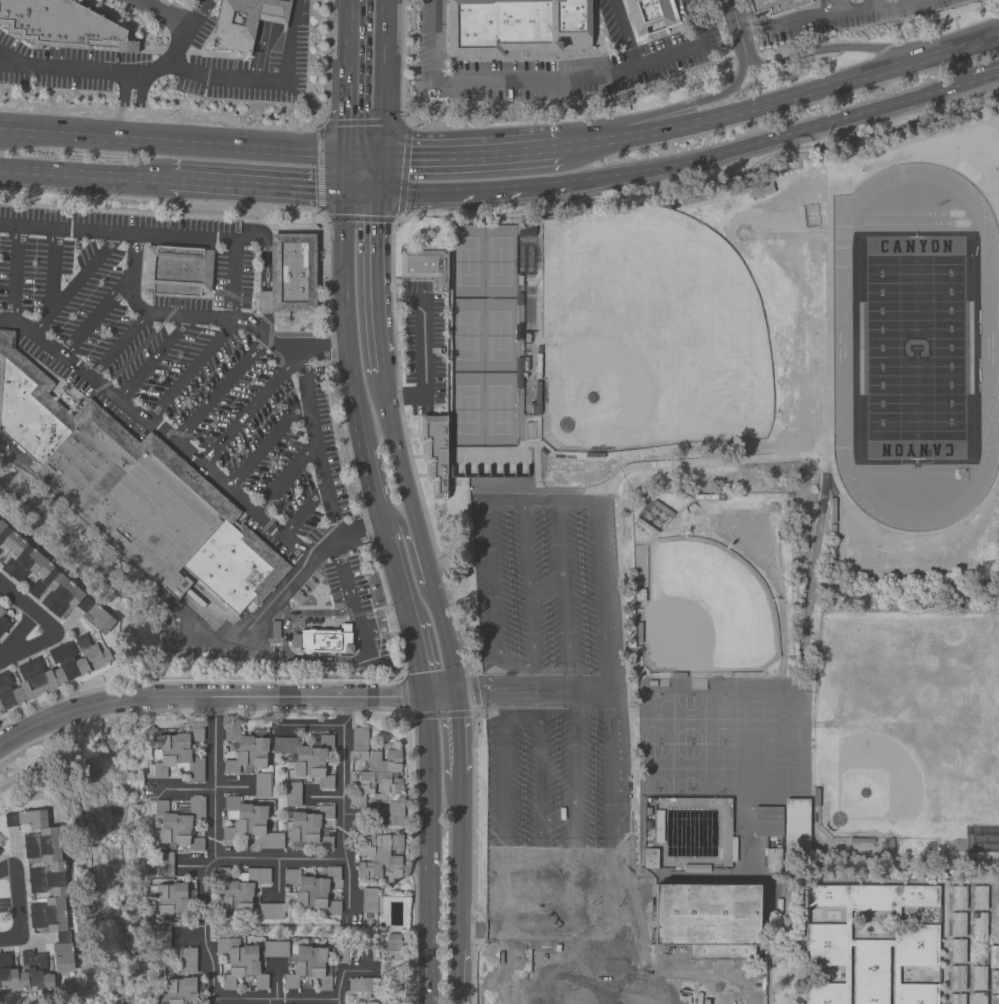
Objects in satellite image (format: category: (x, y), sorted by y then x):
road: (881, 3)
road: (895, 3)
building: (771, 7)
road: (269, 10)
road: (293, 13)
road: (159, 15)
building: (649, 16)
road: (824, 19)
building: (57, 23)
building: (234, 26)
building: (516, 26)
road: (623, 32)
road: (185, 33)
road: (260, 50)
road: (812, 54)
road: (10, 59)
road: (172, 68)
road: (349, 77)
road: (383, 77)
road: (985, 79)
road: (551, 82)
road: (706, 100)
road: (782, 100)
road: (122, 106)
road: (140, 107)
road: (770, 140)
road: (173, 141)
road: (472, 152)
traffic signals: (348, 154)
road: (364, 154)
traffic signals: (381, 155)
road: (347, 172)
road: (379, 173)
road: (84, 176)
road: (257, 187)
road: (540, 187)
traffic signals: (346, 191)
road: (361, 191)
traffic signals: (377, 192)
road: (446, 192)
building: (525, 231)
road: (159, 237)
park: (466, 261)
park: (499, 261)
building: (423, 264)
building: (179, 271)
road: (374, 272)
road: (51, 274)
building: (289, 274)
road: (16, 276)
road: (75, 285)
road: (98, 319)
road: (345, 322)
park: (646, 334)
park: (465, 335)
park: (498, 335)
road: (274, 339)
building: (814, 343)
track: (913, 343)
road: (121, 347)
road: (317, 349)
road: (422, 356)
road: (155, 360)
road: (380, 363)
road: (190, 373)
road: (223, 389)
parking lot: (197, 393)
building: (28, 408)
park: (465, 409)
park: (498, 409)
road: (250, 413)
road: (161, 432)
road: (1, 440)
road: (270, 442)
building: (433, 452)
building: (88, 460)
road: (701, 466)
road: (290, 478)
road: (371, 486)
road: (542, 504)
road: (307, 513)
building: (159, 516)
road: (360, 530)
road: (418, 536)
road: (411, 556)
road: (395, 567)
building: (234, 569)
building: (49, 582)
road: (547, 587)
road: (354, 596)
road: (565, 597)
road: (602, 597)
road: (262, 612)
park: (700, 612)
road: (386, 621)
building: (3, 622)
building: (312, 623)
road: (50, 627)
road: (283, 643)
road: (417, 655)
road: (331, 661)
road: (357, 661)
road: (517, 667)
building: (52, 673)
road: (511, 675)
road: (514, 684)
road: (439, 690)
road: (591, 690)
road: (166, 693)
road: (383, 696)
road: (440, 697)
road: (515, 698)
road: (506, 719)
road: (308, 726)
parking lot: (554, 730)
road: (457, 741)
building: (245, 751)
building: (178, 756)
building: (305, 759)
park: (886, 762)
building: (375, 766)
road: (214, 777)
building: (262, 785)
road: (231, 786)
road: (188, 788)
road: (324, 796)
road: (341, 803)
road: (609, 809)
road: (574, 810)
road: (361, 815)
building: (395, 815)
building: (767, 821)
building: (179, 823)
building: (248, 823)
road: (557, 825)
building: (795, 825)
building: (309, 828)
road: (429, 849)
building: (0, 850)
building: (378, 855)
road: (257, 857)
building: (650, 857)
road: (458, 858)
building: (772, 860)
building: (44, 879)
road: (277, 881)
building: (239, 887)
building: (314, 888)
building: (977, 897)
building: (171, 898)
building: (957, 898)
building: (369, 903)
road: (15, 904)
building: (271, 912)
building: (394, 914)
building: (707, 919)
road: (510, 921)
building: (956, 924)
building: (978, 924)
road: (534, 931)
road: (202, 935)
road: (188, 936)
building: (397, 945)
building: (870, 947)
building: (275, 949)
building: (956, 950)
building: (993, 957)
building: (188, 961)
building: (239, 963)
building: (307, 967)
road: (459, 968)
building: (25, 972)
road: (342, 972)
road: (569, 973)
road: (650, 975)
building: (956, 977)
building: (977, 977)
road: (275, 979)
building: (993, 981)
building: (359, 986)
building: (180, 990)
road: (662, 990)
building: (956, 998)
building: (977, 998)
road: (239, 999)
road: (271, 999)
road: (305, 999)
building: (993, 999)
road: (267, 1001)
road: (336, 1001)
building: (364, 1002)
building: (389, 1002)

